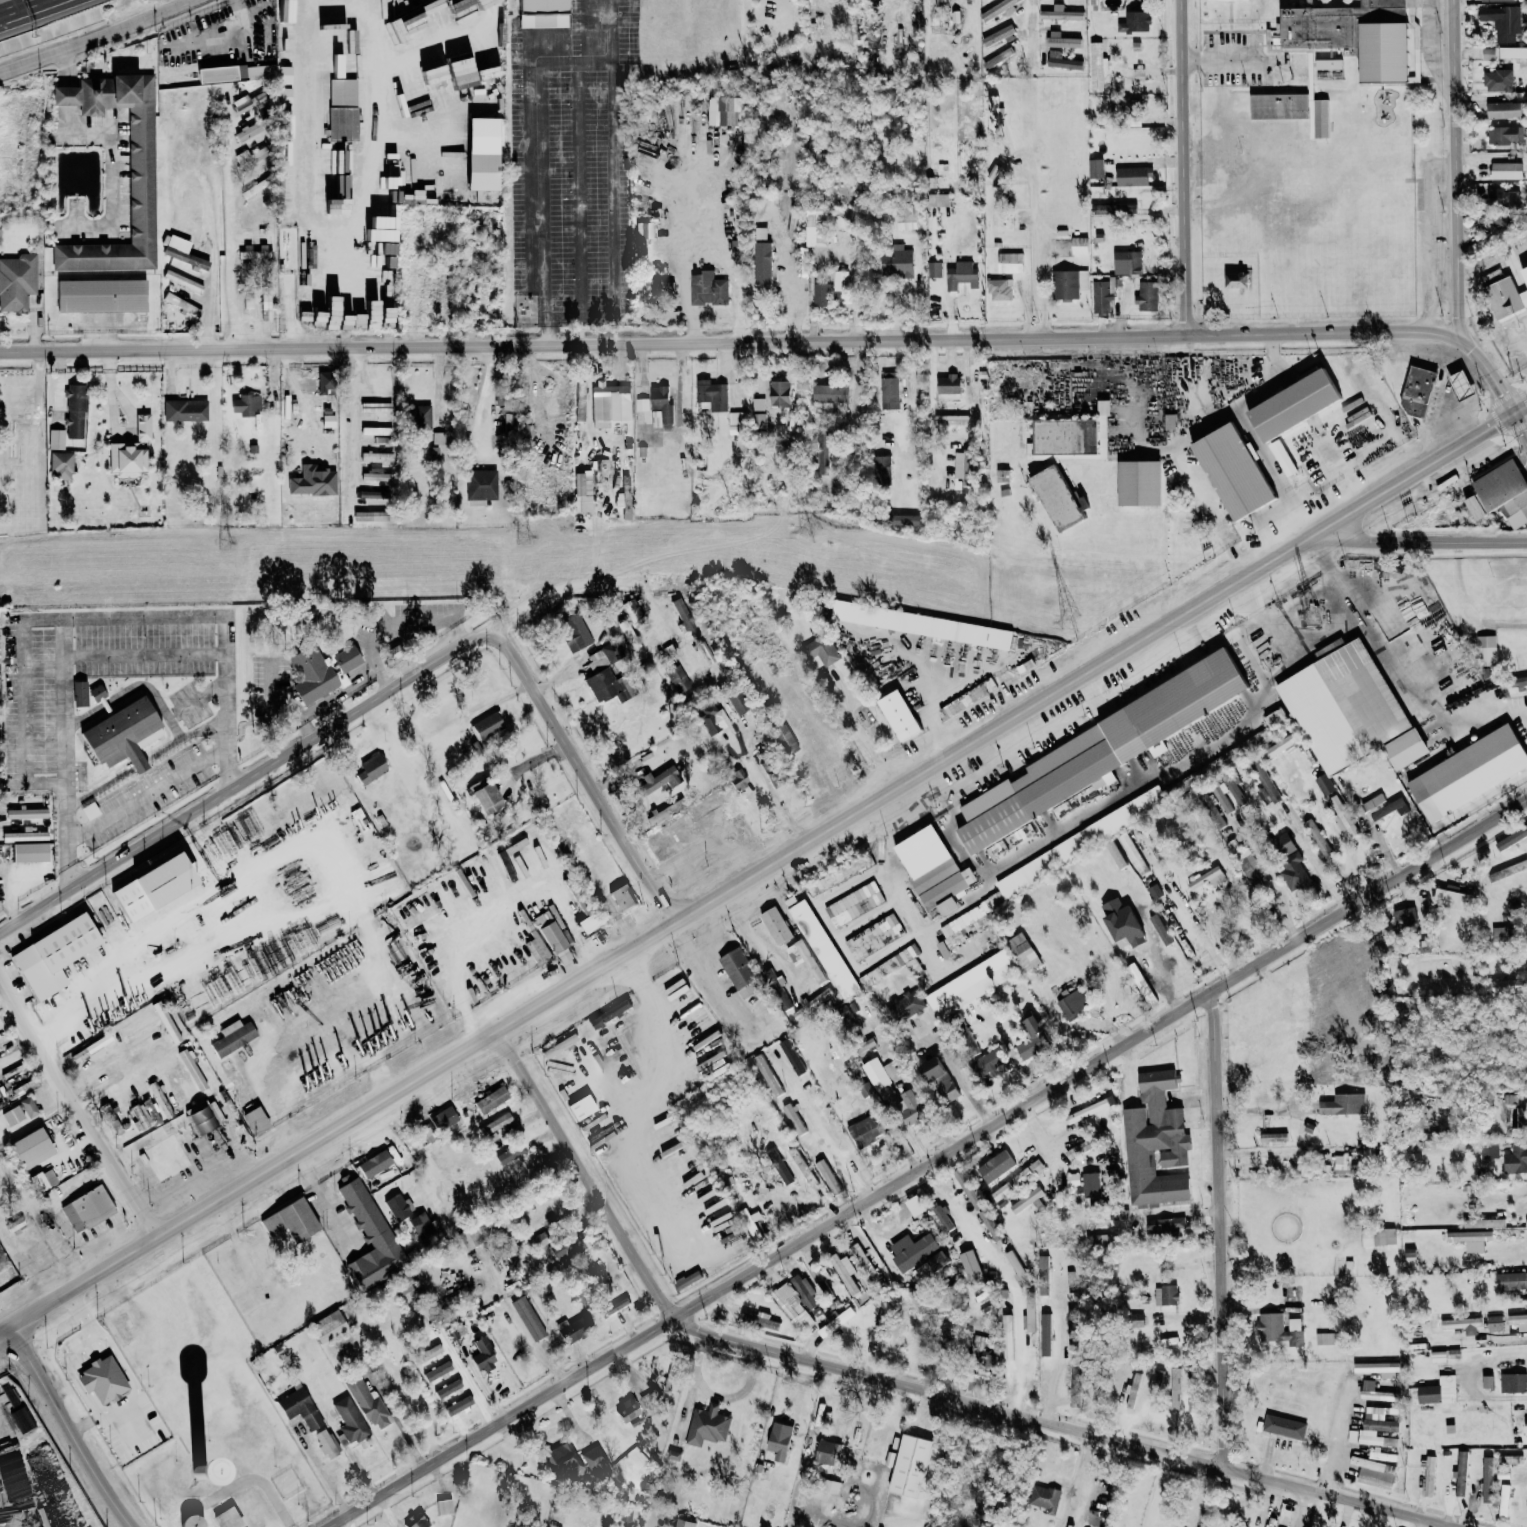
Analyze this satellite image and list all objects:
building: (1212, 0)
building: (1494, 0)
road: (321, 1)
building: (1091, 4)
building: (457, 6)
building: (998, 9)
building: (934, 10)
building: (287, 11)
road: (30, 12)
building: (541, 13)
building: (1060, 13)
building: (425, 20)
road: (1029, 20)
building: (1135, 21)
building: (1503, 21)
road: (599, 28)
building: (1351, 34)
building: (997, 35)
road: (224, 37)
road: (98, 38)
building: (1061, 40)
building: (1116, 44)
building: (1512, 52)
building: (1487, 53)
road: (1229, 57)
building: (997, 60)
building: (1062, 60)
building: (483, 62)
building: (1328, 64)
building: (1096, 66)
road: (67, 68)
building: (235, 73)
building: (341, 75)
building: (1497, 79)
road: (66, 96)
building: (1278, 105)
building: (1316, 109)
building: (1505, 109)
building: (724, 110)
building: (993, 114)
building: (248, 130)
building: (1505, 134)
building: (483, 135)
building: (331, 160)
building: (1095, 168)
road: (1187, 169)
road: (112, 170)
building: (1505, 170)
road: (1461, 172)
building: (1131, 176)
building: (140, 179)
road: (581, 185)
building: (1502, 196)
building: (938, 199)
building: (334, 205)
building: (997, 206)
building: (1124, 208)
building: (286, 211)
building: (906, 217)
road: (230, 224)
building: (815, 226)
building: (426, 235)
building: (642, 242)
building: (1078, 245)
building: (175, 247)
road: (1032, 248)
road: (362, 261)
building: (896, 261)
building: (196, 262)
building: (1010, 262)
building: (1126, 262)
building: (934, 267)
road: (213, 273)
building: (1524, 273)
building: (961, 275)
building: (1236, 278)
building: (840, 280)
building: (17, 281)
building: (182, 281)
building: (1068, 283)
building: (654, 285)
building: (430, 287)
building: (707, 288)
building: (999, 289)
building: (779, 293)
building: (821, 294)
building: (1102, 294)
building: (101, 295)
building: (838, 295)
building: (1147, 295)
building: (1504, 298)
building: (247, 301)
building: (181, 304)
road: (542, 314)
road: (785, 343)
building: (321, 382)
building: (948, 383)
building: (1460, 384)
building: (889, 390)
building: (1417, 391)
building: (779, 393)
building: (711, 394)
building: (830, 394)
road: (482, 399)
building: (580, 401)
building: (609, 403)
building: (757, 403)
building: (245, 404)
building: (642, 404)
building: (1293, 404)
building: (660, 407)
building: (1102, 407)
building: (184, 410)
building: (74, 411)
road: (1522, 411)
traffic signals: (1518, 414)
building: (18, 416)
road: (354, 417)
building: (951, 419)
building: (420, 420)
building: (758, 420)
building: (737, 422)
building: (142, 427)
building: (15, 436)
building: (56, 439)
building: (1066, 439)
road: (1250, 439)
building: (738, 442)
building: (1282, 457)
building: (126, 459)
building: (60, 465)
building: (966, 467)
building: (881, 470)
building: (1233, 471)
building: (367, 476)
building: (312, 481)
building: (1138, 482)
building: (480, 486)
building: (582, 488)
building: (1501, 493)
building: (1053, 494)
building: (624, 495)
building: (369, 516)
building: (903, 519)
road: (1266, 530)
power tower: (812, 533)
road: (1420, 536)
power tower: (524, 538)
power tower: (224, 544)
road: (619, 580)
building: (631, 609)
building: (683, 614)
road: (69, 621)
power tower: (1067, 622)
power tower: (1317, 622)
building: (921, 624)
building: (573, 632)
building: (628, 634)
building: (1486, 650)
building: (820, 651)
building: (596, 660)
building: (320, 671)
building: (677, 678)
building: (1518, 681)
road: (1399, 684)
building: (605, 686)
building: (79, 693)
building: (96, 693)
building: (967, 697)
building: (737, 702)
building: (1342, 704)
road: (63, 705)
building: (898, 715)
building: (709, 719)
building: (1275, 719)
building: (485, 725)
building: (121, 735)
road: (863, 737)
building: (782, 740)
building: (1280, 746)
building: (1405, 748)
building: (1238, 750)
building: (1098, 751)
road: (277, 756)
building: (370, 769)
road: (590, 769)
building: (1466, 778)
building: (658, 780)
building: (737, 780)
building: (1264, 784)
building: (1324, 785)
road: (765, 791)
building: (1222, 797)
building: (486, 798)
road: (137, 801)
building: (1380, 806)
building: (1210, 809)
building: (661, 813)
building: (25, 814)
building: (1342, 816)
building: (705, 818)
building: (24, 836)
building: (1317, 838)
building: (1511, 838)
building: (1282, 844)
building: (28, 852)
building: (1132, 853)
building: (1244, 860)
building: (1105, 865)
building: (932, 869)
building: (1293, 873)
road: (759, 875)
building: (1207, 878)
building: (151, 887)
building: (621, 898)
building: (1452, 899)
road: (493, 913)
building: (1405, 916)
building: (855, 919)
building: (1121, 923)
building: (1157, 923)
building: (775, 925)
building: (1502, 933)
building: (554, 940)
building: (822, 947)
building: (1022, 952)
building: (52, 955)
building: (804, 959)
building: (883, 968)
road: (711, 971)
building: (739, 972)
building: (1140, 983)
building: (1508, 986)
road: (641, 987)
building: (775, 989)
building: (971, 991)
building: (1071, 1002)
building: (904, 1003)
building: (608, 1013)
building: (231, 1038)
building: (1032, 1038)
building: (791, 1056)
building: (986, 1062)
building: (878, 1073)
building: (767, 1075)
road: (962, 1080)
building: (937, 1081)
building: (182, 1095)
building: (490, 1099)
building: (1342, 1105)
road: (81, 1106)
building: (580, 1107)
building: (909, 1107)
building: (19, 1112)
building: (1514, 1112)
building: (205, 1118)
building: (442, 1118)
building: (793, 1118)
building: (254, 1121)
building: (494, 1126)
building: (1308, 1128)
building: (864, 1131)
road: (826, 1136)
building: (1273, 1137)
building: (1155, 1142)
building: (31, 1148)
building: (1489, 1148)
building: (510, 1152)
building: (1516, 1160)
building: (373, 1164)
building: (1342, 1164)
road: (933, 1165)
building: (778, 1166)
building: (995, 1166)
building: (1035, 1166)
building: (802, 1167)
building: (827, 1176)
building: (1072, 1179)
building: (1011, 1184)
building: (1090, 1185)
road: (463, 1196)
building: (1026, 1199)
road: (324, 1202)
building: (397, 1207)
building: (86, 1208)
road: (73, 1215)
building: (943, 1222)
building: (288, 1224)
building: (420, 1224)
building: (990, 1225)
building: (1165, 1226)
road: (1223, 1229)
building: (1378, 1237)
building: (369, 1238)
building: (1471, 1239)
building: (1094, 1240)
building: (537, 1241)
building: (567, 1247)
building: (918, 1256)
building: (1410, 1258)
building: (970, 1266)
building: (846, 1274)
building: (1043, 1274)
road: (1005, 1276)
building: (1512, 1281)
building: (804, 1291)
building: (1165, 1295)
building: (791, 1307)
building: (609, 1309)
building: (1005, 1317)
building: (527, 1319)
building: (1135, 1319)
building: (759, 1321)
building: (836, 1321)
building: (1518, 1321)
building: (1494, 1323)
building: (1030, 1324)
building: (1462, 1324)
building: (328, 1327)
building: (573, 1329)
building: (1278, 1329)
building: (454, 1334)
building: (1324, 1338)
building: (332, 1355)
building: (483, 1356)
building: (1438, 1356)
building: (1007, 1358)
road: (1056, 1361)
building: (1029, 1365)
building: (432, 1366)
road: (124, 1369)
building: (1381, 1369)
road: (462, 1371)
building: (1075, 1377)
building: (101, 1380)
road: (909, 1382)
building: (1487, 1382)
building: (1513, 1383)
building: (1153, 1386)
building: (1175, 1388)
building: (1434, 1391)
building: (1374, 1392)
building: (299, 1408)
building: (626, 1410)
building: (375, 1413)
building: (348, 1422)
building: (707, 1425)
road: (77, 1426)
building: (1284, 1426)
building: (1377, 1427)
road: (1337, 1433)
building: (778, 1440)
building: (324, 1443)
building: (825, 1452)
building: (673, 1455)
building: (1381, 1455)
building: (592, 1456)
building: (1509, 1459)
building: (562, 1461)
building: (180, 1463)
building: (910, 1466)
building: (1375, 1473)
building: (1461, 1473)
road: (1081, 1475)
building: (1428, 1477)
building: (1487, 1479)
road: (330, 1482)
road: (255, 1485)
building: (830, 1486)
building: (1043, 1497)
building: (1504, 1501)
building: (444, 1506)
road: (1305, 1506)
building: (968, 1507)
building: (226, 1518)
building: (190, 1521)
road: (1419, 1521)
building: (418, 1522)
building: (684, 1523)
building: (1231, 1526)

